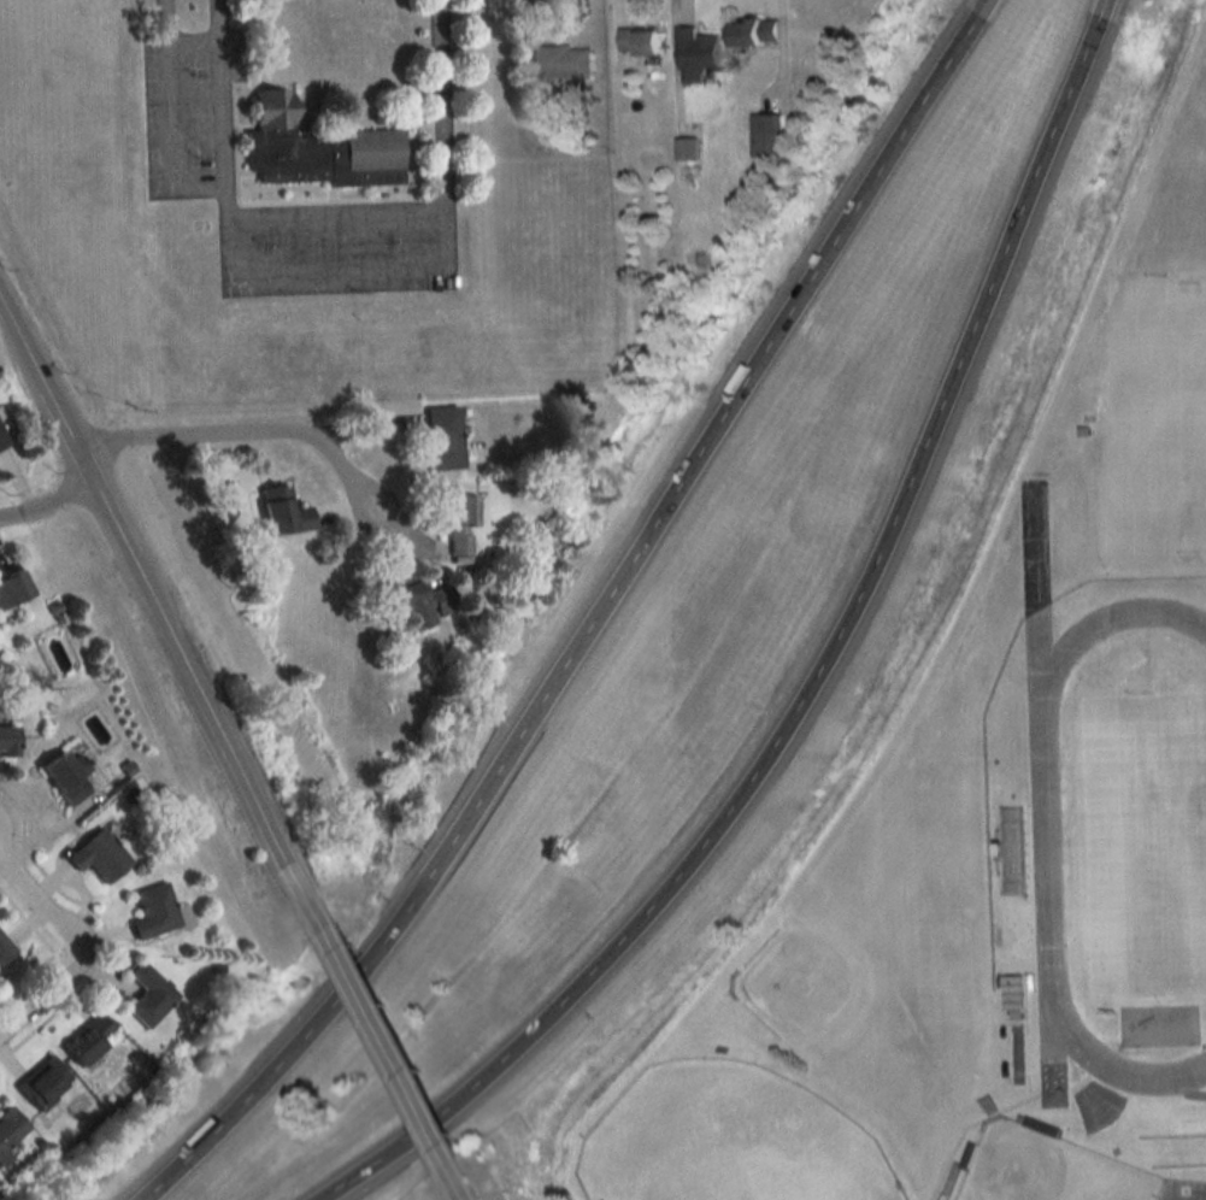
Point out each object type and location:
building: (753, 31)
building: (639, 41)
building: (695, 54)
building: (560, 61)
road: (170, 119)
building: (764, 135)
building: (686, 148)
building: (313, 153)
road: (336, 216)
road: (333, 265)
building: (441, 437)
road: (241, 439)
building: (1, 440)
road: (51, 506)
building: (280, 511)
building: (459, 525)
road: (141, 576)
building: (11, 588)
building: (405, 602)
road: (592, 622)
road: (816, 672)
building: (6, 740)
building: (65, 776)
building: (1010, 852)
building: (98, 855)
building: (152, 911)
road: (70, 946)
building: (4, 949)
park: (839, 973)
building: (148, 995)
road: (372, 1028)
building: (87, 1039)
building: (42, 1083)
building: (8, 1131)
park: (725, 1141)
park: (1042, 1169)

